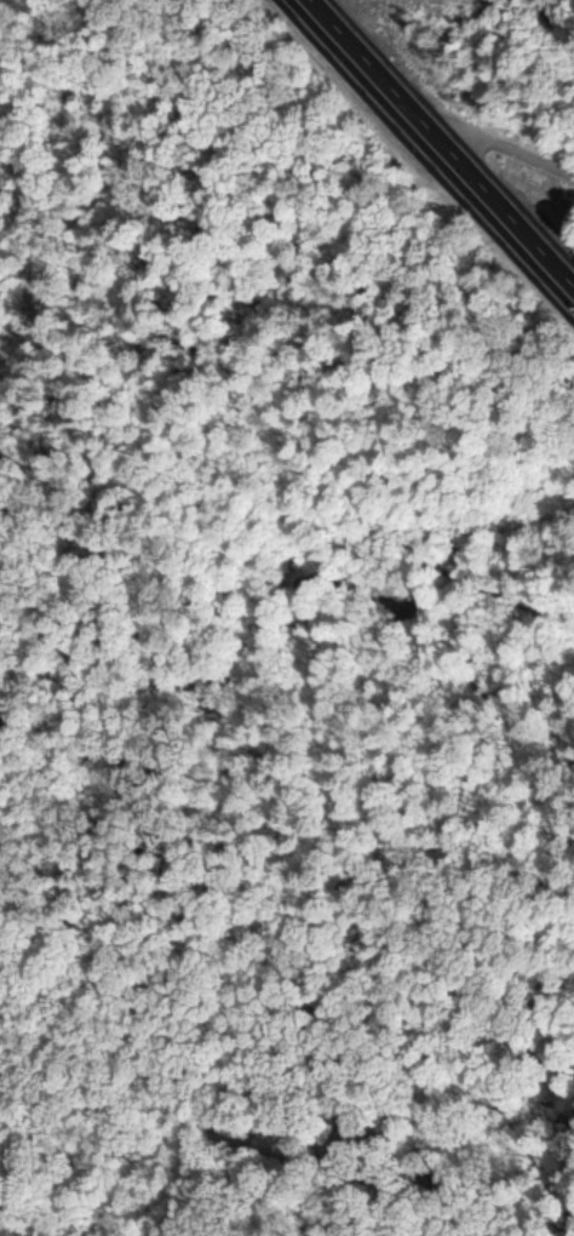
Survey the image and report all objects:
road: (432, 154)

